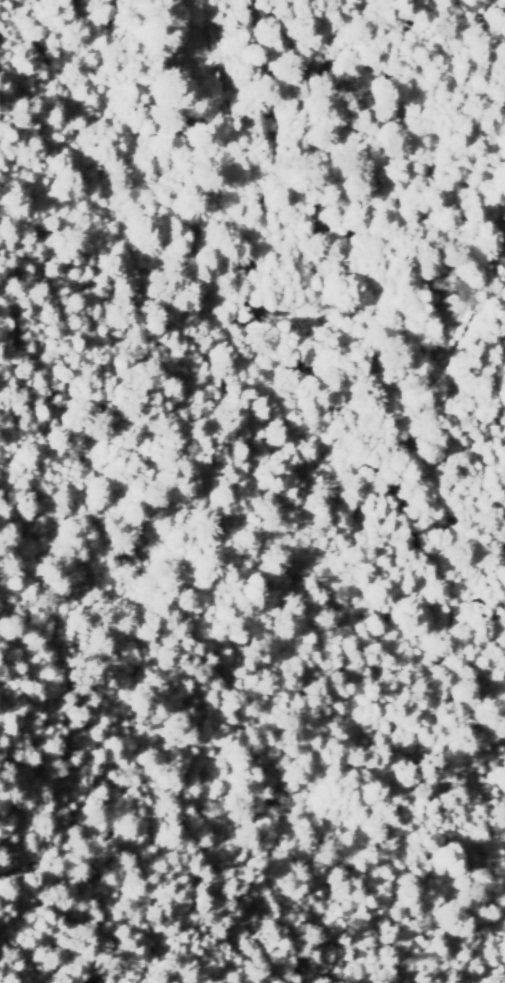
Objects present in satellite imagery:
road: (210, 29)
road: (292, 284)

